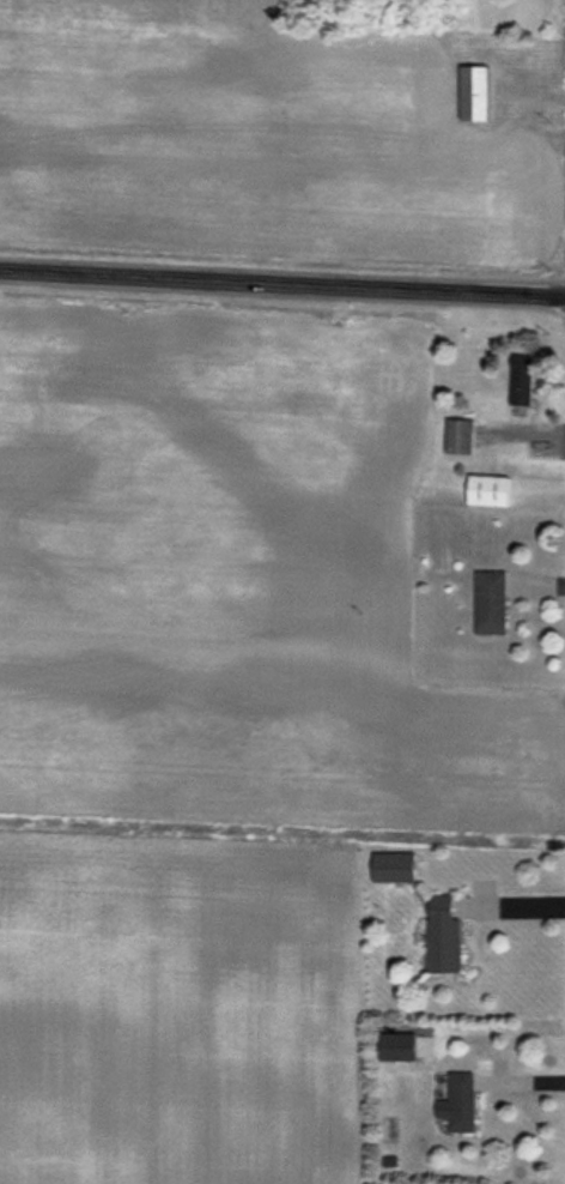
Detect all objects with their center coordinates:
building: (479, 93)
road: (282, 282)
building: (520, 382)
building: (457, 436)
building: (488, 490)
building: (490, 603)
building: (393, 868)
road: (508, 902)
building: (442, 936)
building: (458, 1103)

